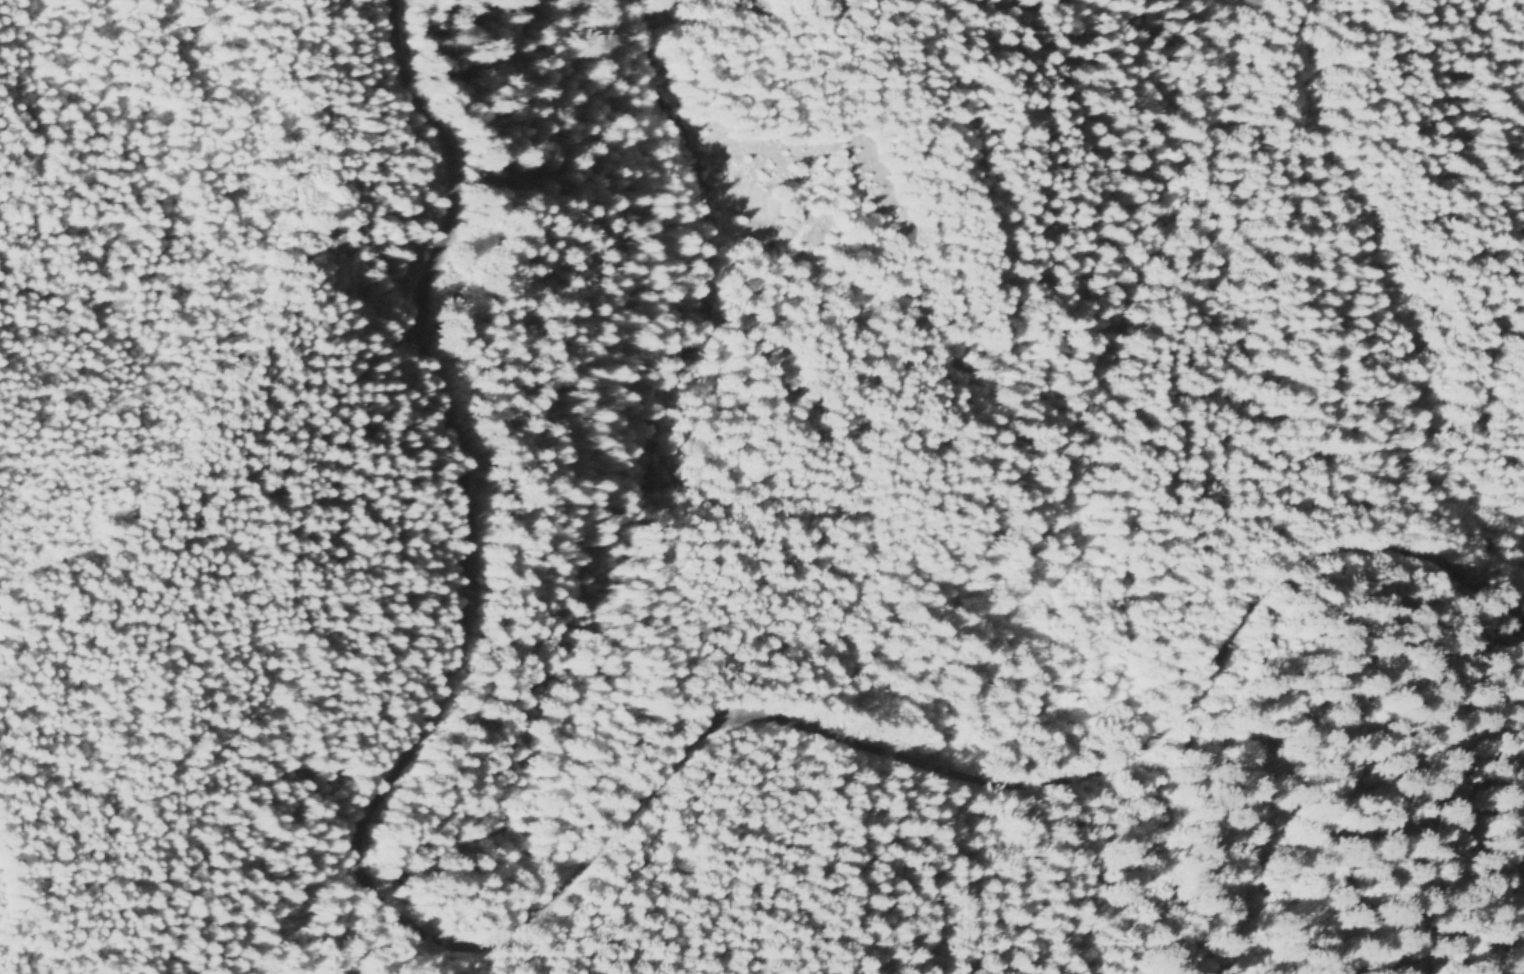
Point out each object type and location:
road: (548, 892)

